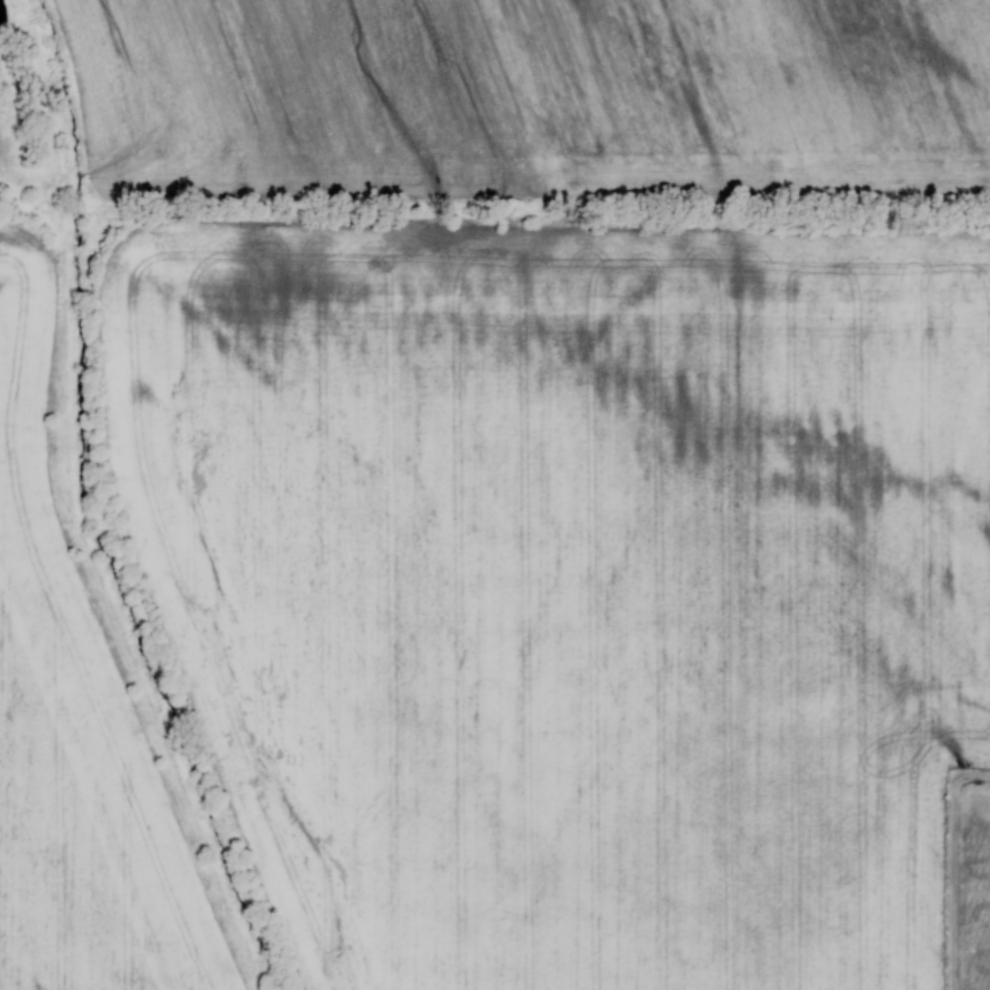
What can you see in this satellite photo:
park: (932, 49)

